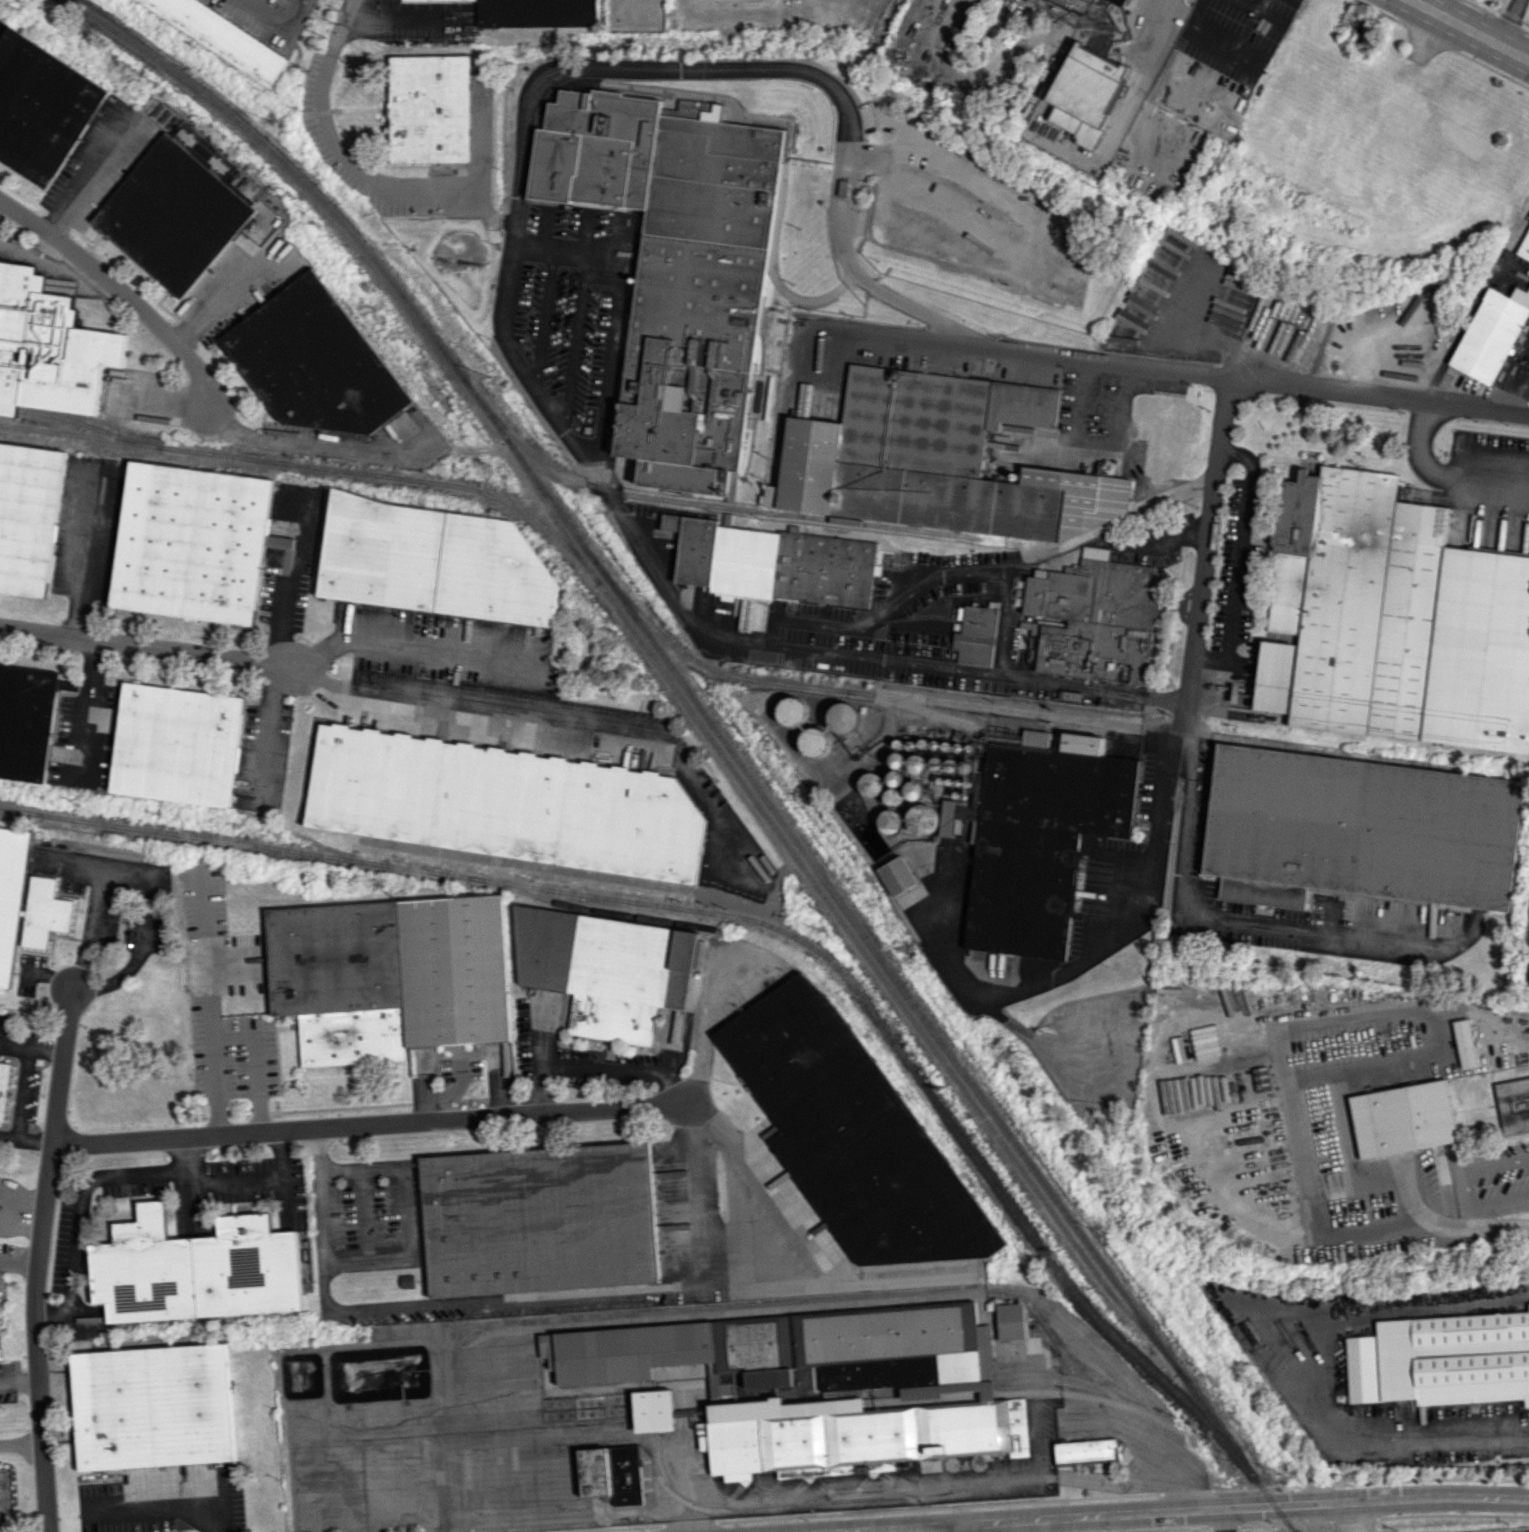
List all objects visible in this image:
building: (425, 0)
building: (1119, 2)
building: (534, 13)
road: (401, 19)
road: (1507, 20)
road: (278, 22)
road: (1472, 28)
building: (222, 36)
road: (328, 51)
road: (627, 65)
road: (1135, 78)
building: (1084, 93)
building: (40, 107)
building: (429, 109)
road: (481, 151)
road: (90, 176)
road: (377, 186)
road: (936, 202)
building: (173, 213)
building: (1524, 245)
building: (673, 267)
road: (121, 289)
road: (226, 293)
road: (1475, 299)
building: (1488, 335)
building: (48, 348)
building: (314, 361)
road: (1251, 383)
road: (1520, 393)
building: (1015, 428)
building: (1162, 442)
road: (314, 447)
building: (936, 460)
railway: (300, 465)
road: (1442, 473)
railway: (712, 505)
building: (27, 516)
road: (1177, 535)
building: (191, 542)
building: (279, 542)
road: (1207, 551)
road: (83, 552)
road: (1242, 560)
building: (432, 562)
building: (772, 563)
building: (1090, 614)
building: (1392, 620)
building: (975, 636)
road: (403, 642)
road: (147, 644)
road: (88, 704)
building: (792, 712)
road: (554, 717)
building: (844, 717)
building: (26, 721)
road: (265, 729)
railway: (717, 732)
building: (814, 742)
building: (176, 744)
building: (918, 764)
road: (1156, 800)
building: (500, 803)
railway: (19, 812)
building: (922, 819)
building: (890, 822)
building: (1363, 828)
building: (1037, 835)
building: (897, 876)
road: (144, 878)
building: (11, 895)
railway: (588, 910)
building: (44, 912)
road: (1224, 920)
railway: (752, 921)
railway: (844, 926)
building: (606, 970)
building: (389, 976)
road: (207, 996)
road: (1291, 1027)
building: (1464, 1043)
road: (30, 1044)
road: (256, 1061)
road: (599, 1067)
building: (4, 1087)
road: (23, 1091)
building: (1512, 1104)
building: (1402, 1119)
road: (369, 1124)
building: (849, 1131)
road: (9, 1137)
road: (35, 1142)
road: (1468, 1168)
road: (187, 1179)
road: (258, 1179)
road: (742, 1184)
road: (696, 1195)
road: (284, 1203)
road: (405, 1214)
road: (1423, 1214)
road: (76, 1216)
building: (540, 1219)
road: (1500, 1225)
road: (35, 1259)
building: (195, 1269)
road: (781, 1283)
road: (426, 1305)
road: (673, 1311)
building: (1010, 1321)
building: (1441, 1360)
road: (17, 1381)
building: (818, 1385)
building: (151, 1406)
building: (653, 1411)
road: (1453, 1428)
road: (569, 1437)
road: (20, 1444)
building: (1084, 1450)
building: (611, 1473)
road: (938, 1486)
road: (455, 1488)
building: (3, 1496)
road: (1246, 1506)
road: (159, 1508)
road: (571, 1515)
road: (1352, 1517)
road: (1226, 1519)
road: (1027, 1525)
road: (919, 1528)
road: (965, 1528)

